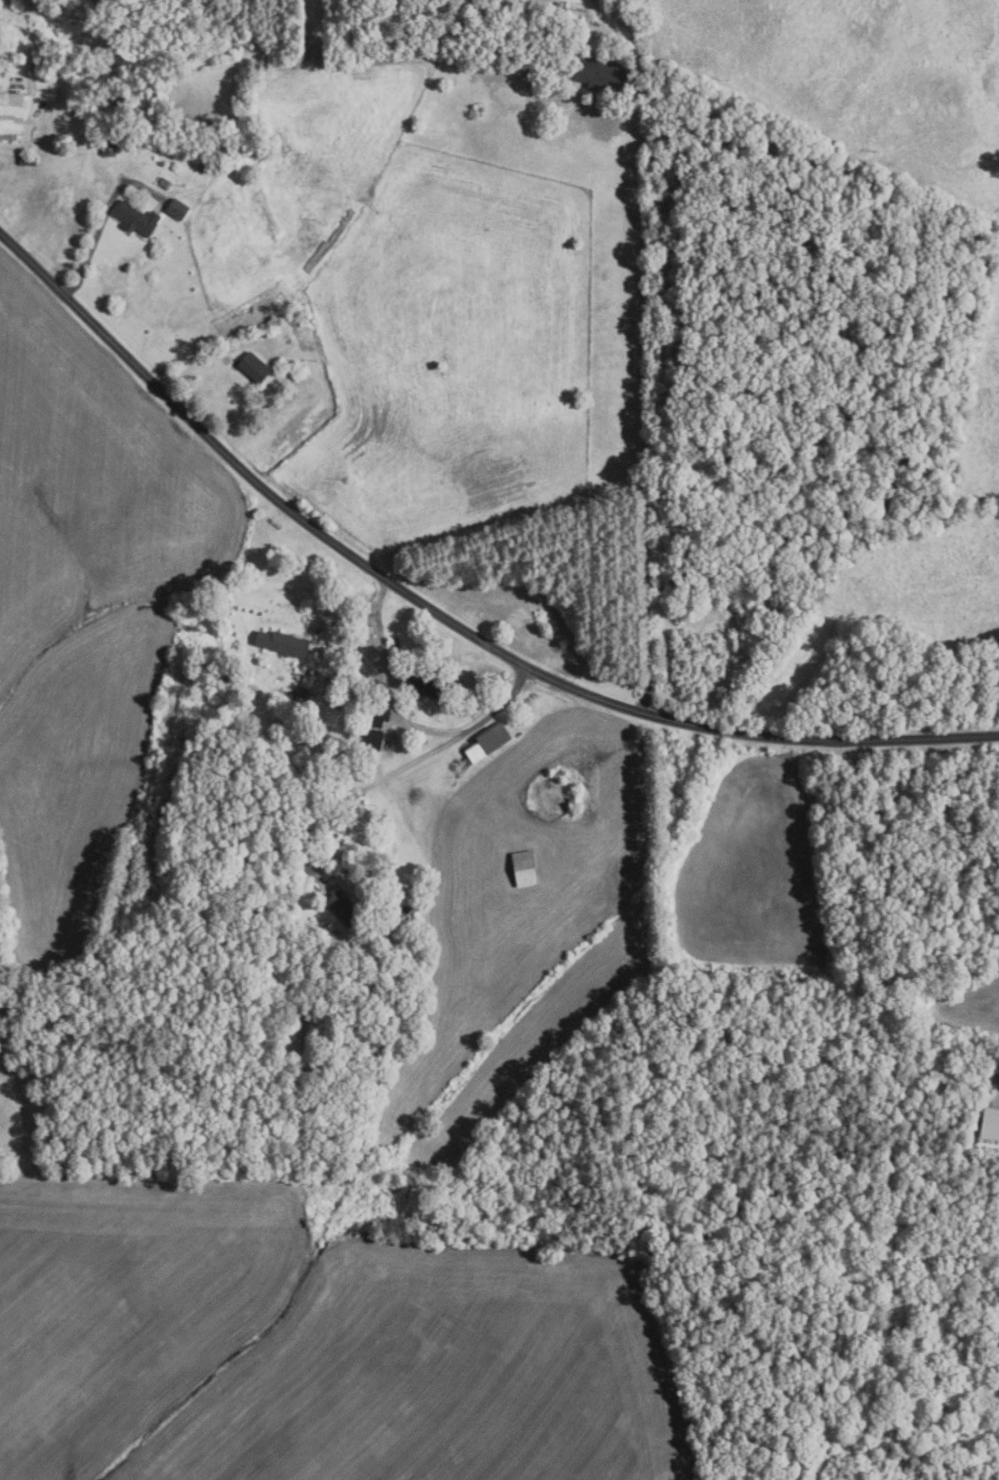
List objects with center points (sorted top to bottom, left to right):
building: (603, 0)
building: (39, 57)
building: (16, 63)
building: (597, 74)
building: (120, 97)
building: (108, 146)
building: (27, 160)
building: (164, 183)
building: (177, 209)
road: (102, 218)
building: (136, 219)
building: (253, 367)
road: (642, 407)
road: (440, 615)
road: (350, 618)
building: (283, 642)
road: (386, 683)
building: (423, 684)
building: (301, 694)
building: (375, 705)
building: (450, 705)
road: (500, 705)
building: (461, 710)
building: (373, 718)
building: (369, 739)
building: (482, 746)
building: (362, 754)
road: (359, 791)
building: (525, 868)
building: (342, 907)
building: (305, 970)
building: (289, 975)
building: (990, 1123)

